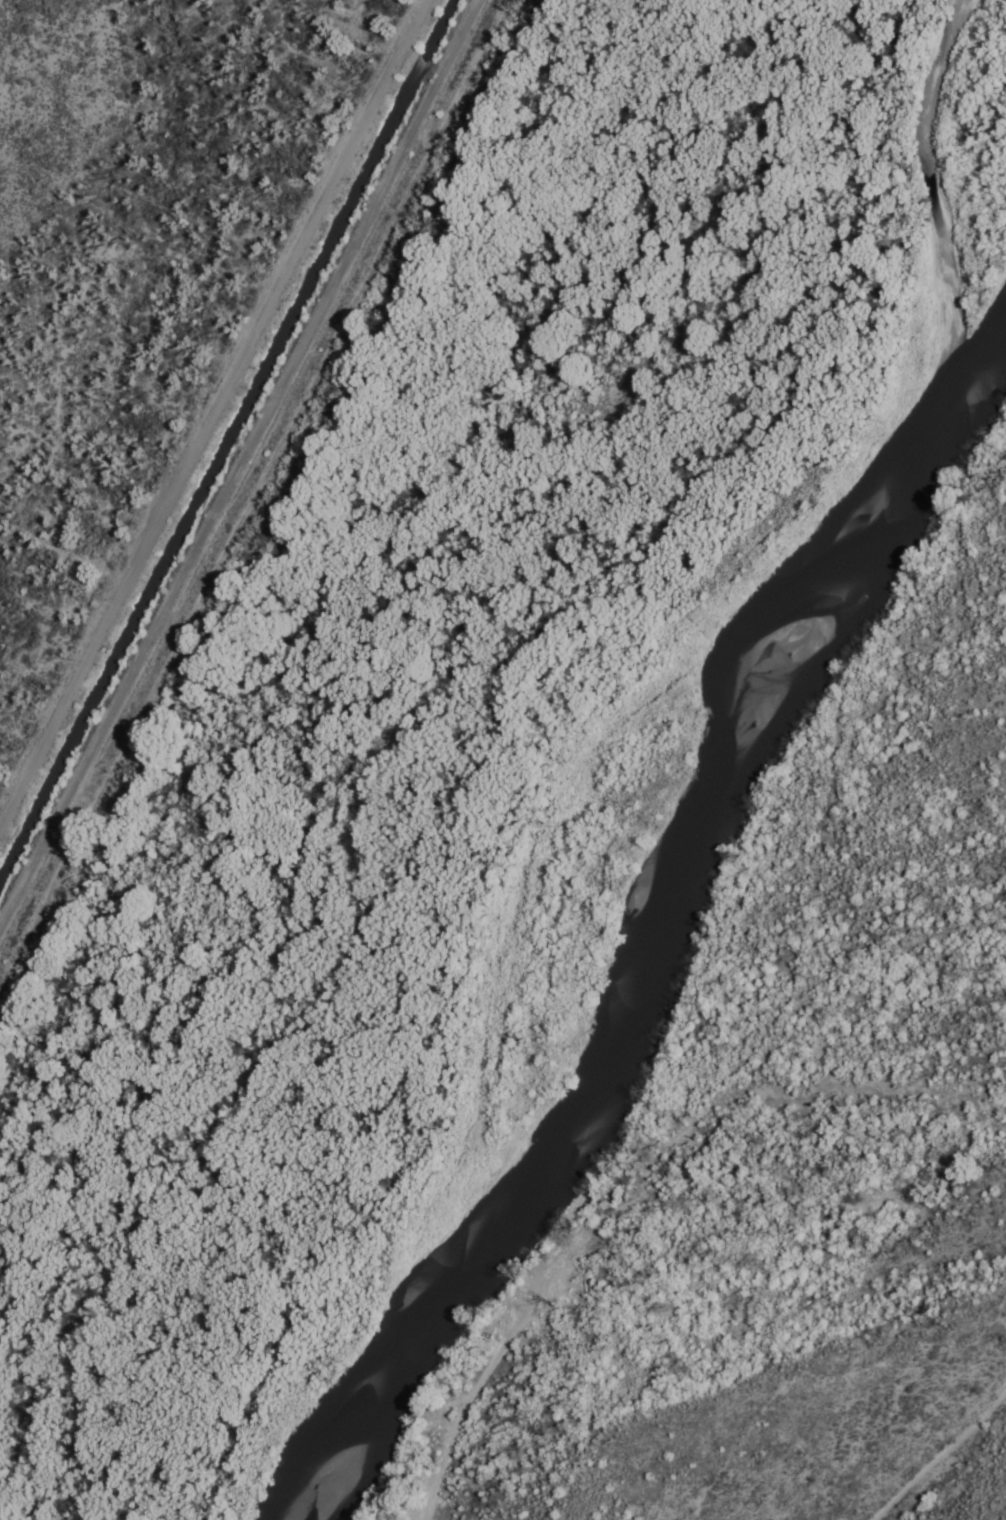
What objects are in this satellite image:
river: (939, 194)
river: (674, 934)

